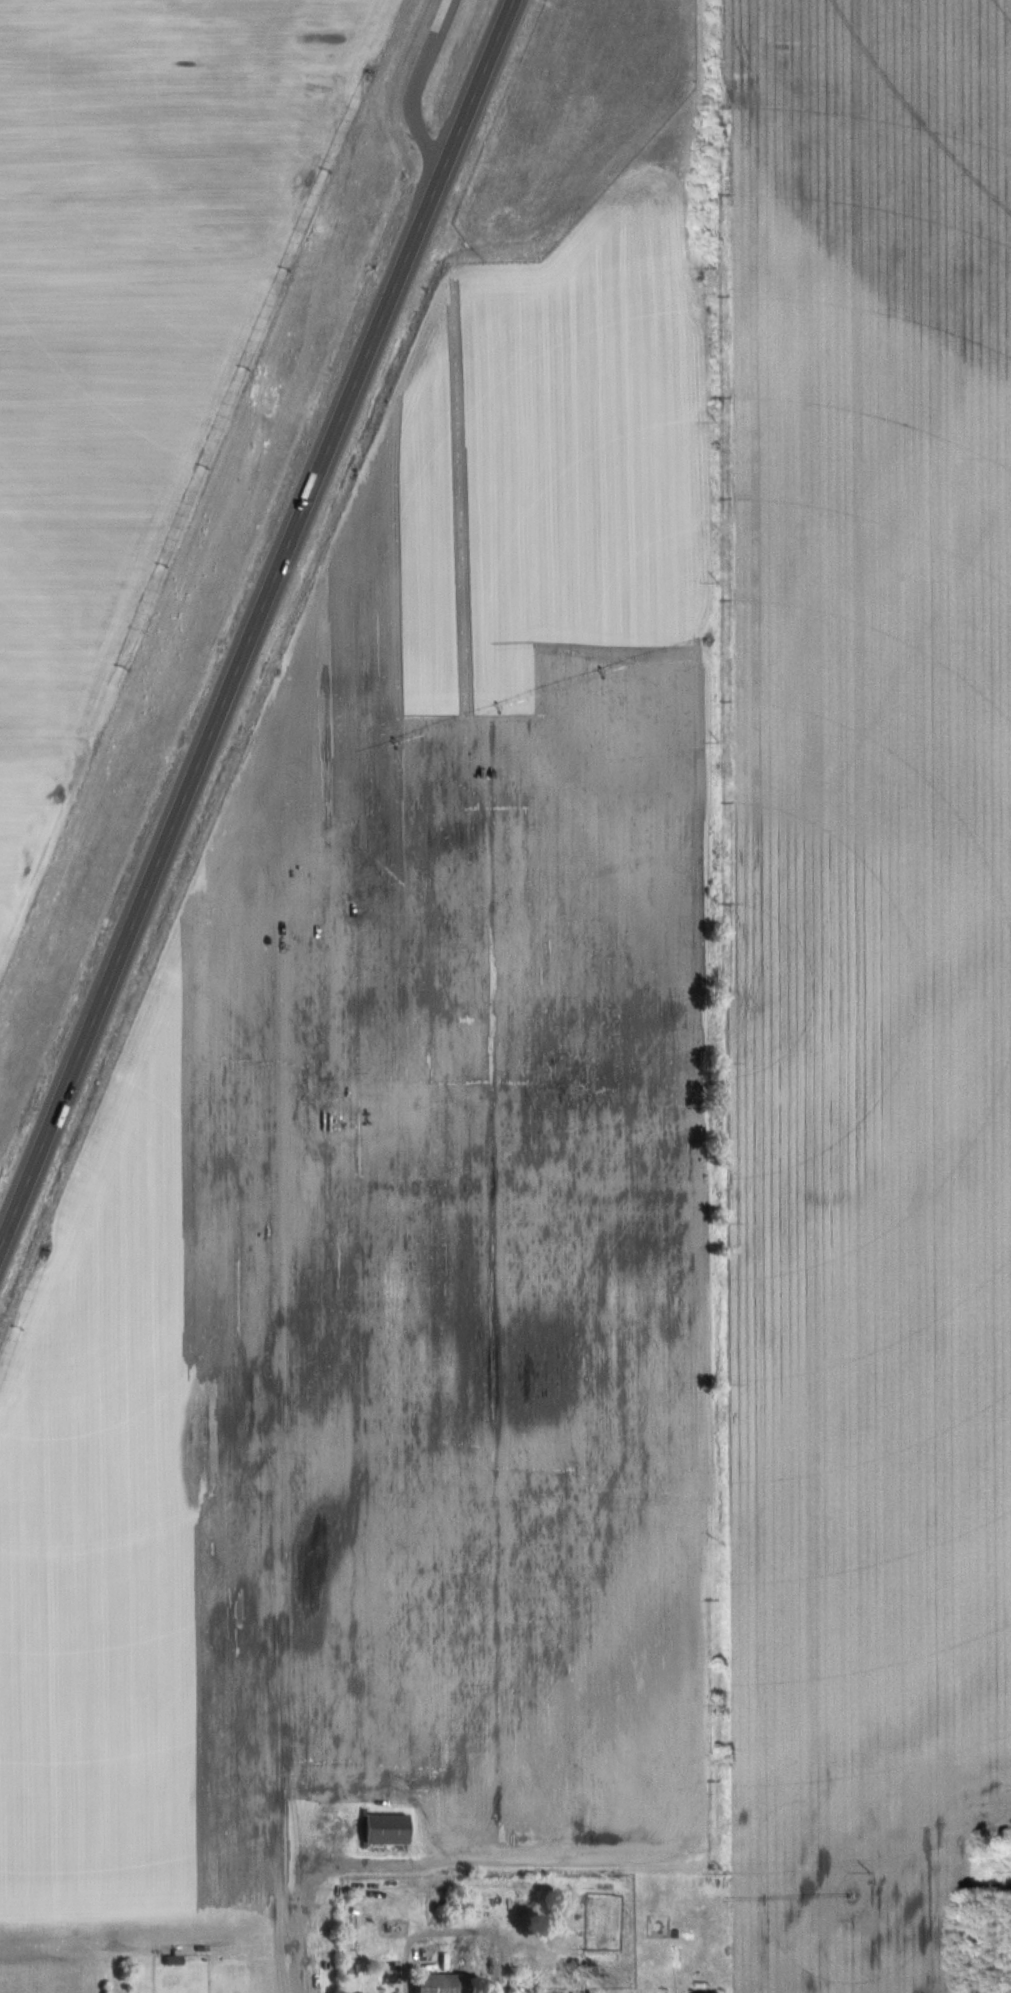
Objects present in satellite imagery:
road: (431, 86)
crop: (174, 135)
crop: (92, 516)
road: (264, 635)
crop: (868, 970)
building: (386, 1829)
building: (455, 1905)
building: (439, 1983)
building: (527, 1983)

